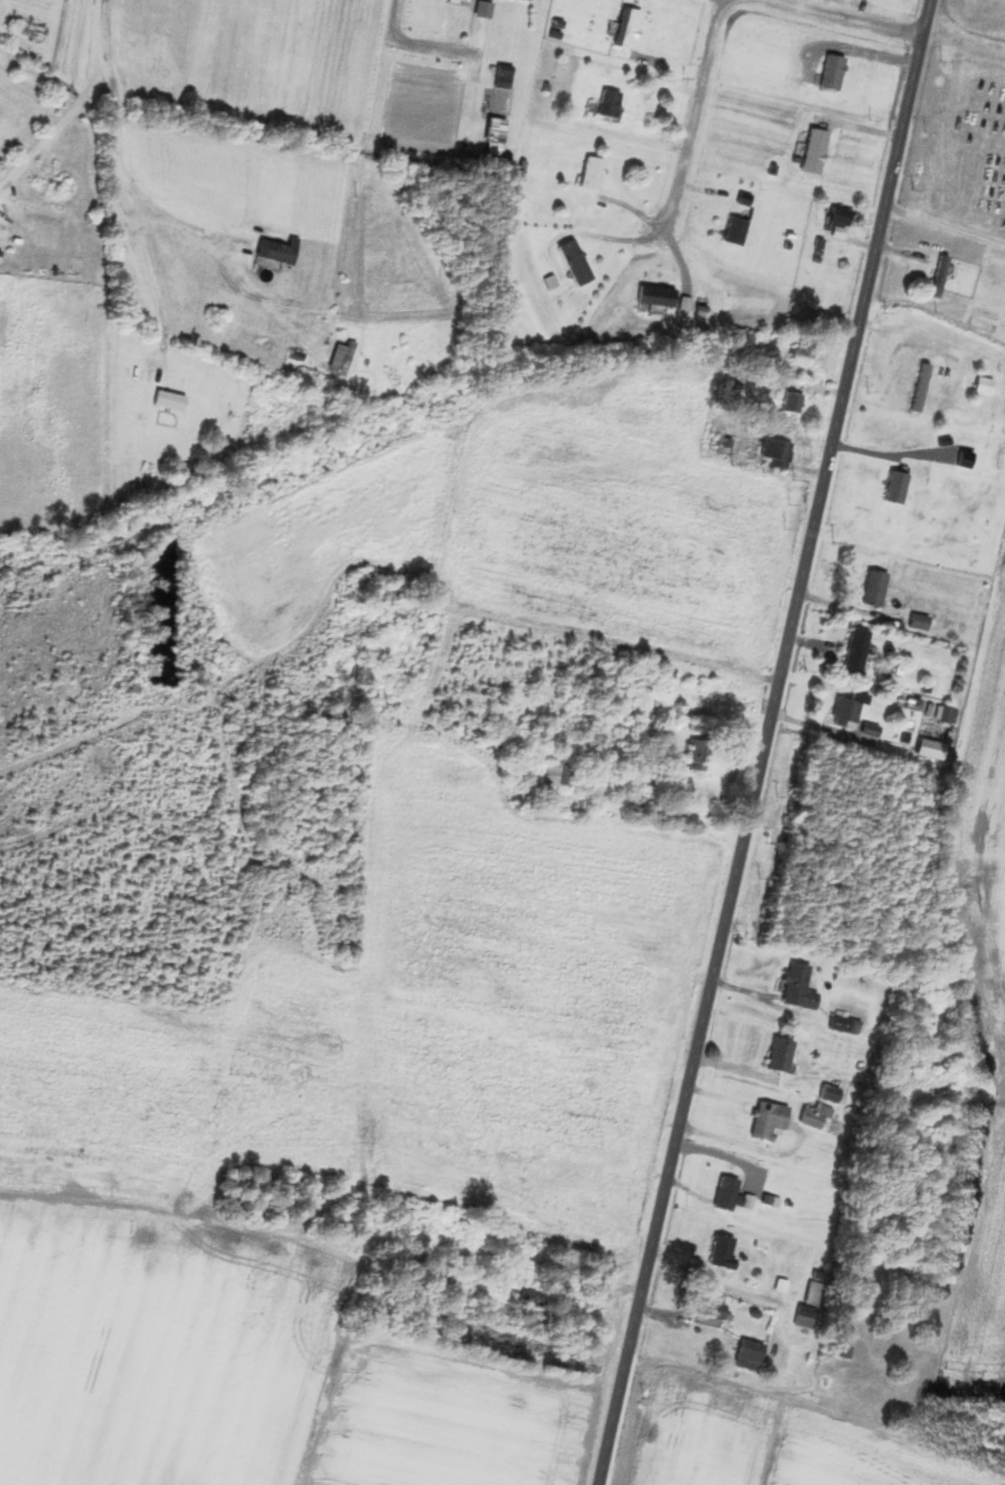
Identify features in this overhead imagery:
building: (480, 9)
road: (838, 17)
building: (625, 28)
road: (422, 49)
building: (830, 72)
building: (606, 103)
road: (693, 113)
road: (61, 123)
building: (493, 135)
building: (812, 151)
building: (590, 173)
road: (119, 185)
building: (837, 215)
road: (169, 219)
road: (945, 224)
building: (733, 231)
building: (275, 250)
building: (572, 262)
building: (937, 276)
building: (655, 296)
building: (799, 355)
building: (338, 359)
building: (918, 387)
building: (790, 402)
building: (773, 449)
building: (893, 487)
building: (871, 588)
building: (916, 622)
building: (852, 650)
building: (354, 674)
building: (841, 713)
road: (763, 742)
building: (928, 750)
building: (690, 759)
building: (556, 775)
building: (793, 988)
building: (837, 1025)
building: (776, 1056)
building: (814, 1118)
building: (764, 1121)
building: (962, 1130)
building: (723, 1195)
building: (717, 1251)
building: (707, 1306)
building: (805, 1306)
building: (745, 1354)

